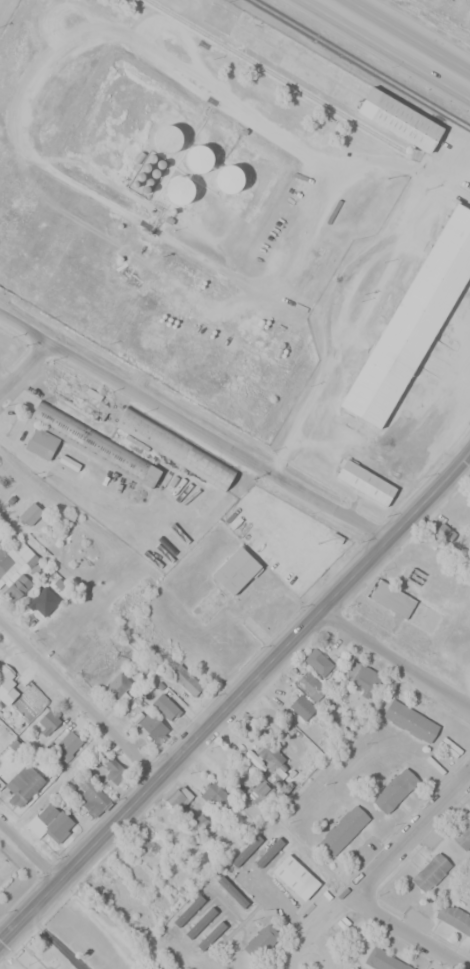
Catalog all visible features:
road: (398, 42)
railway: (362, 63)
building: (402, 126)
building: (169, 145)
building: (200, 165)
road: (460, 178)
building: (230, 186)
building: (181, 196)
road: (357, 319)
building: (413, 328)
road: (26, 371)
road: (453, 382)
building: (79, 396)
road: (192, 425)
building: (42, 443)
building: (96, 443)
road: (379, 444)
building: (176, 452)
building: (366, 487)
building: (31, 513)
building: (444, 532)
building: (6, 560)
building: (236, 570)
building: (18, 586)
building: (392, 598)
building: (40, 608)
building: (324, 654)
road: (388, 665)
building: (5, 675)
road: (13, 678)
building: (186, 679)
building: (117, 685)
road: (236, 699)
building: (301, 706)
road: (77, 711)
building: (411, 720)
building: (47, 721)
building: (152, 724)
building: (67, 745)
building: (270, 754)
building: (113, 769)
building: (24, 783)
building: (395, 789)
building: (260, 791)
building: (215, 793)
building: (179, 797)
building: (94, 799)
building: (54, 819)
building: (203, 824)
building: (343, 830)
road: (408, 834)
building: (463, 836)
building: (155, 851)
road: (28, 857)
building: (431, 872)
building: (296, 877)
building: (453, 917)
road: (408, 934)
building: (261, 941)
building: (383, 960)
building: (264, 968)

